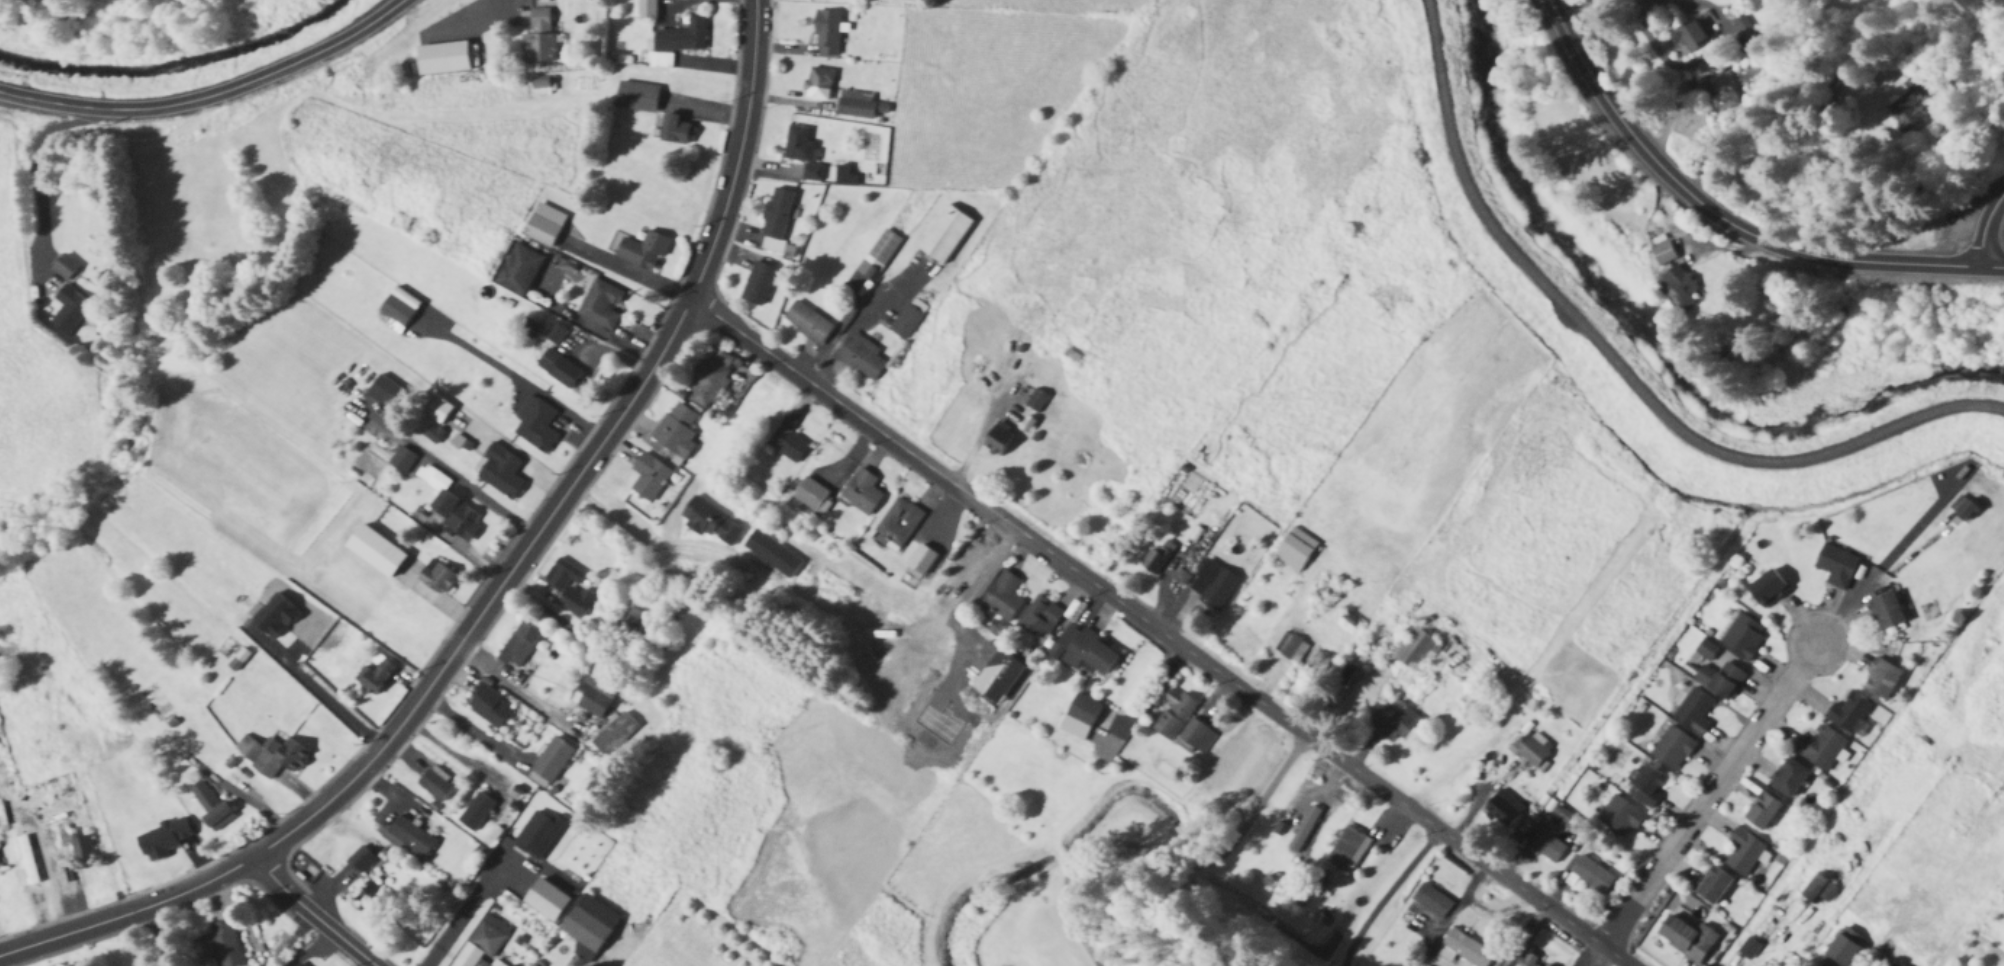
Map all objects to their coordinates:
building: (645, 9)
building: (1743, 28)
building: (826, 33)
building: (1690, 35)
building: (539, 37)
building: (676, 42)
building: (818, 84)
building: (540, 88)
building: (1721, 93)
road: (211, 94)
building: (636, 97)
building: (856, 104)
building: (1906, 108)
building: (675, 130)
building: (802, 152)
road: (39, 171)
building: (845, 176)
building: (776, 214)
road: (1726, 219)
building: (544, 225)
building: (944, 234)
road: (1984, 235)
building: (641, 249)
building: (1660, 254)
building: (878, 255)
building: (64, 267)
building: (519, 270)
road: (627, 271)
building: (758, 284)
building: (1681, 286)
building: (602, 305)
building: (69, 311)
building: (396, 311)
road: (856, 319)
building: (905, 322)
building: (808, 323)
building: (860, 357)
road: (1618, 367)
building: (558, 368)
road: (518, 377)
building: (710, 380)
building: (383, 391)
building: (1035, 401)
building: (436, 409)
building: (537, 427)
building: (676, 430)
road: (978, 430)
building: (997, 438)
building: (787, 441)
building: (403, 459)
building: (500, 472)
building: (649, 477)
building: (862, 492)
building: (810, 495)
building: (1962, 508)
building: (454, 514)
building: (899, 522)
building: (711, 523)
building: (1294, 550)
building: (374, 551)
building: (771, 554)
building: (1155, 560)
building: (919, 562)
building: (1836, 566)
building: (974, 575)
building: (437, 577)
road: (504, 582)
road: (966, 586)
building: (1214, 586)
building: (569, 587)
building: (1767, 588)
building: (1003, 597)
building: (1886, 611)
building: (1040, 618)
building: (629, 625)
road: (1163, 633)
building: (1743, 637)
building: (518, 645)
building: (1290, 648)
building: (1416, 650)
building: (1085, 652)
building: (1320, 663)
building: (374, 674)
building: (1720, 680)
building: (1882, 680)
road: (513, 688)
road: (314, 689)
building: (593, 696)
building: (489, 707)
building: (1694, 712)
building: (1848, 713)
building: (1173, 714)
building: (1080, 717)
building: (1397, 718)
road: (473, 729)
building: (614, 734)
building: (1195, 738)
building: (1821, 748)
building: (1672, 749)
building: (1535, 750)
building: (278, 758)
building: (550, 763)
building: (1789, 778)
building: (434, 784)
building: (1647, 785)
road: (1711, 795)
building: (209, 806)
building: (1503, 809)
building: (476, 812)
building: (1762, 812)
road: (1153, 813)
building: (1620, 817)
building: (1304, 830)
building: (412, 837)
building: (74, 842)
building: (1547, 847)
building: (1347, 850)
building: (1743, 852)
building: (0, 860)
building: (361, 861)
building: (25, 864)
building: (1590, 875)
building: (1712, 885)
building: (1819, 892)
road: (1382, 894)
building: (1431, 901)
road: (1456, 907)
building: (459, 911)
road: (458, 912)
road: (1500, 912)
road: (316, 915)
building: (589, 927)
building: (1686, 939)
building: (485, 940)
building: (221, 945)
building: (1748, 949)
building: (1842, 949)
building: (1463, 950)
building: (1520, 961)
building: (296, 965)
road: (1864, 965)
building: (1896, 965)

